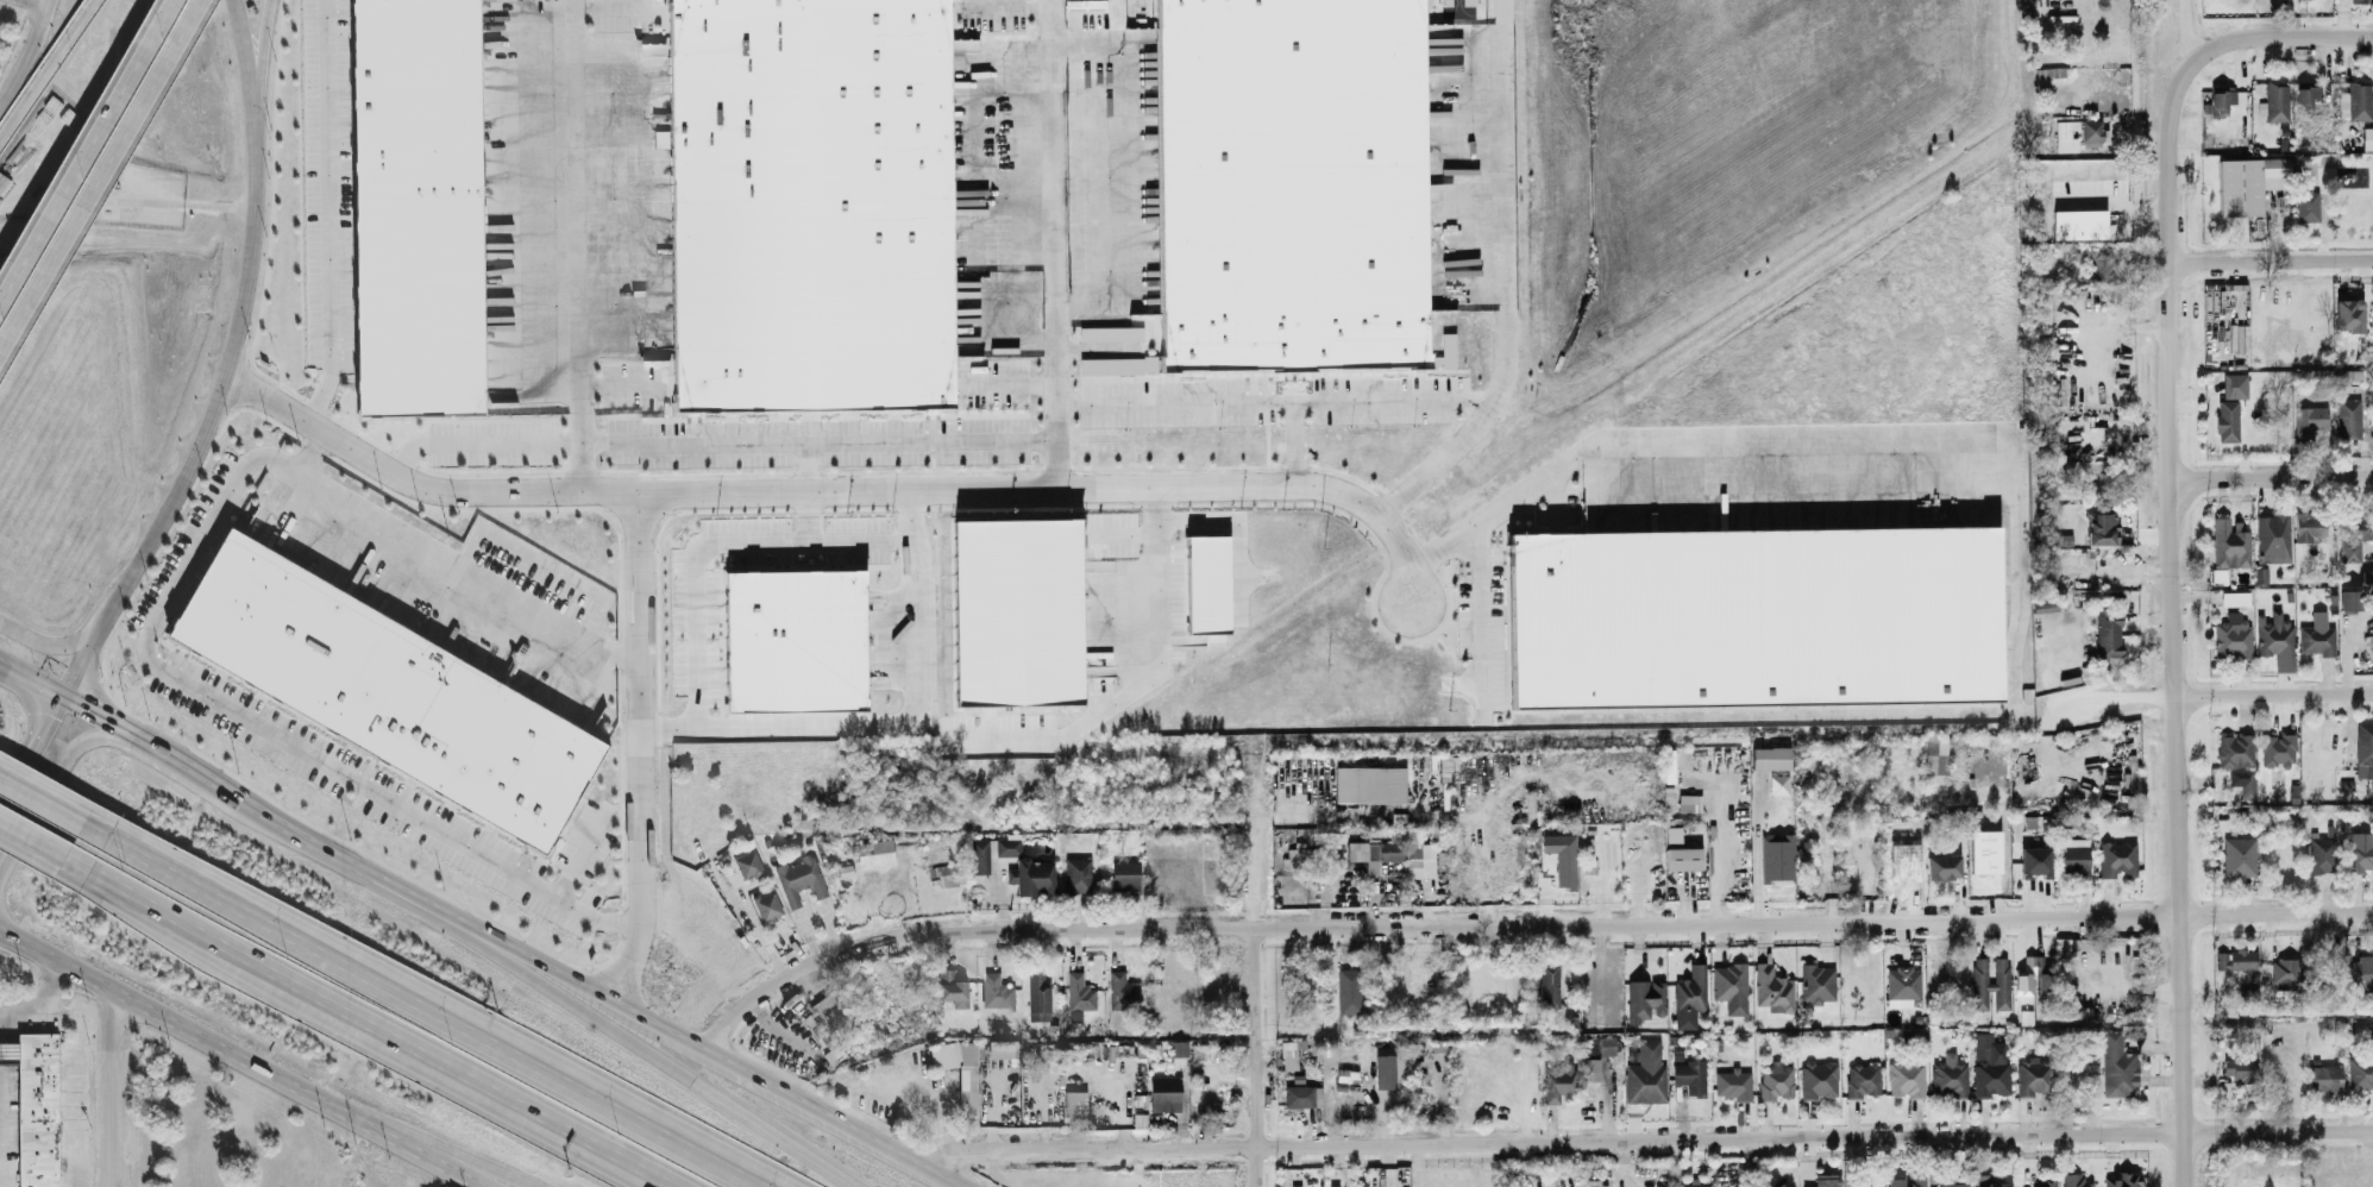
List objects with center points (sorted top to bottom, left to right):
building: (2360, 0)
road: (33, 4)
road: (1004, 5)
park: (1463, 8)
road: (615, 11)
road: (2185, 32)
road: (2323, 33)
road: (25, 51)
road: (46, 68)
road: (246, 73)
road: (260, 73)
building: (2306, 96)
building: (2360, 100)
building: (2226, 101)
building: (2275, 101)
building: (2343, 102)
building: (2091, 127)
building: (2066, 133)
building: (2086, 140)
road: (86, 152)
road: (1099, 169)
road: (102, 180)
building: (2249, 182)
building: (1289, 184)
building: (2306, 197)
building: (808, 202)
building: (418, 208)
road: (329, 215)
building: (2084, 224)
road: (1057, 243)
road: (582, 246)
road: (2270, 259)
road: (246, 262)
building: (2099, 265)
road: (1509, 284)
building: (2348, 313)
road: (1659, 325)
road: (2103, 325)
building: (1110, 332)
building: (1446, 359)
building: (1117, 364)
building: (2353, 372)
road: (1013, 384)
building: (2235, 384)
road: (620, 387)
road: (1539, 387)
road: (1534, 397)
road: (1277, 398)
building: (2348, 416)
building: (2227, 419)
building: (2309, 420)
road: (1695, 433)
road: (1298, 441)
road: (723, 442)
road: (309, 454)
road: (811, 465)
road: (2272, 476)
road: (836, 489)
building: (2310, 523)
building: (2102, 526)
road: (859, 533)
building: (2353, 535)
building: (2273, 536)
building: (2064, 538)
building: (2229, 541)
road: (150, 542)
road: (2021, 577)
road: (2172, 577)
road: (1149, 579)
building: (1207, 583)
building: (2349, 598)
road: (695, 604)
building: (1017, 608)
road: (159, 615)
building: (1750, 615)
road: (1481, 621)
building: (2109, 630)
building: (2274, 634)
building: (2231, 635)
building: (2317, 636)
building: (795, 639)
road: (64, 646)
road: (1459, 682)
road: (31, 683)
road: (2273, 690)
building: (389, 695)
road: (2110, 697)
traffic signals: (62, 701)
road: (898, 720)
building: (2363, 741)
building: (2279, 748)
road: (636, 750)
road: (31, 753)
building: (1770, 756)
building: (1935, 758)
building: (2237, 758)
road: (56, 773)
building: (1370, 783)
building: (1778, 783)
road: (44, 799)
building: (1689, 800)
building: (1337, 837)
road: (33, 843)
building: (1007, 844)
building: (1851, 844)
building: (874, 850)
building: (1396, 852)
building: (2319, 853)
building: (2360, 853)
building: (980, 854)
building: (2076, 855)
building: (1562, 856)
building: (1683, 856)
building: (1776, 856)
building: (2117, 858)
building: (2035, 860)
building: (2239, 862)
building: (748, 863)
building: (1942, 865)
building: (1078, 873)
building: (1031, 874)
building: (1125, 874)
building: (802, 881)
building: (768, 906)
road: (1519, 922)
road: (11, 929)
road: (4, 935)
building: (2066, 942)
road: (511, 949)
building: (2235, 957)
building: (2361, 968)
building: (2284, 972)
building: (2032, 974)
building: (1549, 982)
building: (1818, 982)
building: (1903, 982)
building: (1990, 982)
building: (1731, 985)
building: (1774, 987)
building: (1123, 988)
building: (1349, 988)
building: (1079, 990)
building: (955, 991)
building: (997, 992)
building: (1038, 996)
building: (1689, 996)
building: (1646, 997)
road: (577, 1004)
road: (426, 1006)
road: (43, 1009)
road: (1256, 1009)
building: (831, 1013)
road: (360, 1029)
road: (780, 1034)
building: (1179, 1045)
building: (1005, 1050)
building: (1288, 1053)
building: (10, 1055)
road: (243, 1060)
road: (2146, 1061)
building: (2362, 1062)
building: (1990, 1063)
building: (2117, 1063)
building: (1592, 1067)
building: (2240, 1068)
building: (1386, 1069)
building: (961, 1072)
building: (1645, 1072)
building: (1690, 1074)
building: (1948, 1074)
building: (2033, 1074)
building: (1906, 1076)
building: (2324, 1076)
building: (1819, 1078)
building: (1863, 1078)
building: (1776, 1079)
building: (1557, 1080)
building: (1732, 1081)
road: (112, 1092)
building: (1164, 1092)
building: (1302, 1094)
building: (1074, 1105)
building: (40, 1111)
road: (1645, 1139)
road: (459, 1163)
road: (1385, 1166)
building: (1386, 1175)
building: (1826, 1179)
building: (2123, 1179)
building: (1990, 1180)
building: (2076, 1180)
building: (1906, 1181)
building: (2048, 1181)
building: (1691, 1182)
building: (1333, 1183)
building: (1953, 1183)
building: (1295, 1185)

